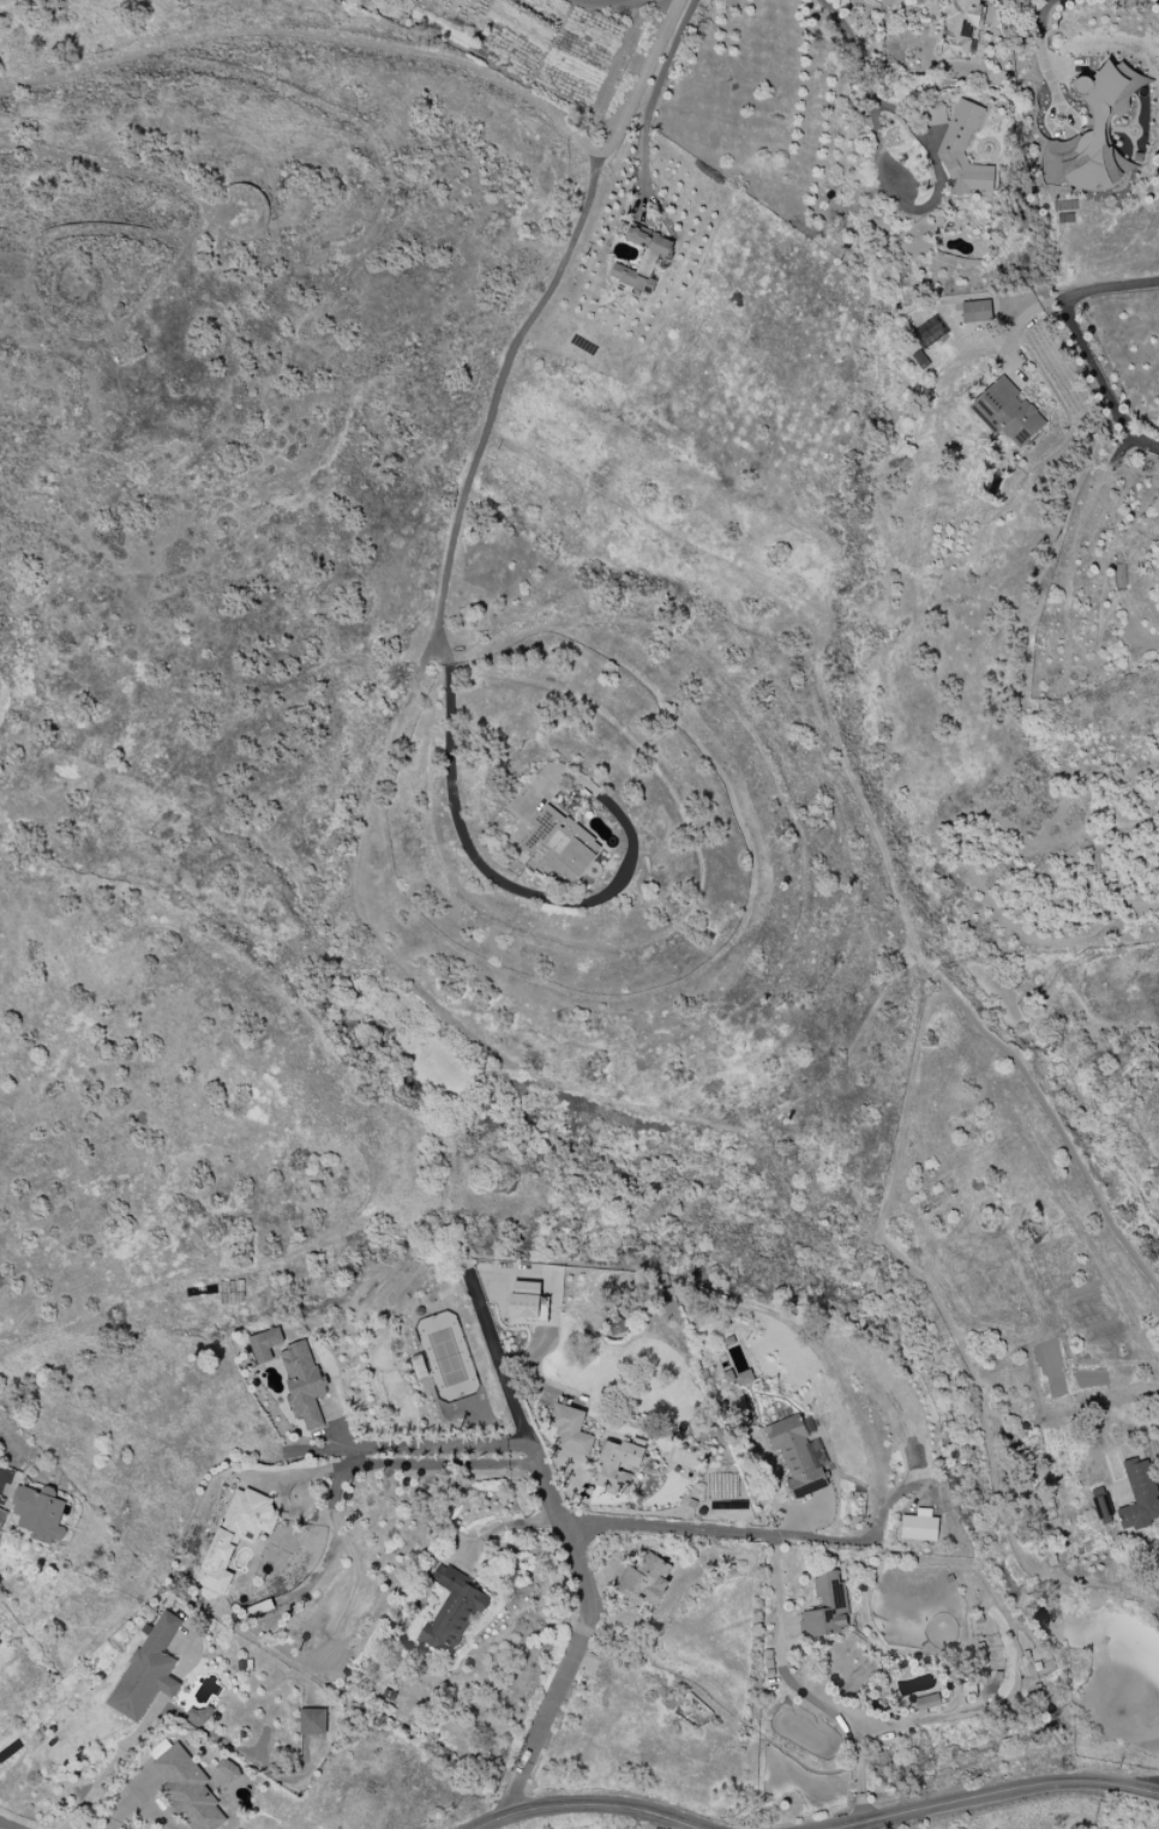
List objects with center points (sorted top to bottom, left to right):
building: (959, 26)
road: (849, 46)
road: (397, 52)
road: (1047, 89)
building: (1089, 137)
building: (963, 152)
road: (927, 206)
building: (648, 240)
building: (636, 273)
building: (975, 312)
road: (1080, 342)
building: (1008, 411)
building: (560, 843)
road: (491, 876)
road: (941, 979)
road: (473, 1036)
building: (524, 1300)
building: (615, 1325)
road: (34, 1340)
building: (264, 1344)
building: (302, 1384)
building: (570, 1428)
building: (798, 1456)
road: (440, 1463)
building: (607, 1466)
road: (1, 1486)
building: (1140, 1496)
building: (38, 1514)
road: (504, 1524)
building: (919, 1526)
building: (235, 1535)
road: (771, 1538)
road: (572, 1550)
building: (644, 1581)
building: (827, 1607)
building: (451, 1610)
building: (146, 1671)
road: (801, 1687)
building: (926, 1703)
building: (198, 1713)
building: (311, 1721)
building: (226, 1770)
road: (1145, 1782)
building: (187, 1789)
road: (990, 1793)
road: (600, 1805)
road: (490, 1823)
road: (659, 1823)
road: (864, 1824)
road: (0, 1828)

